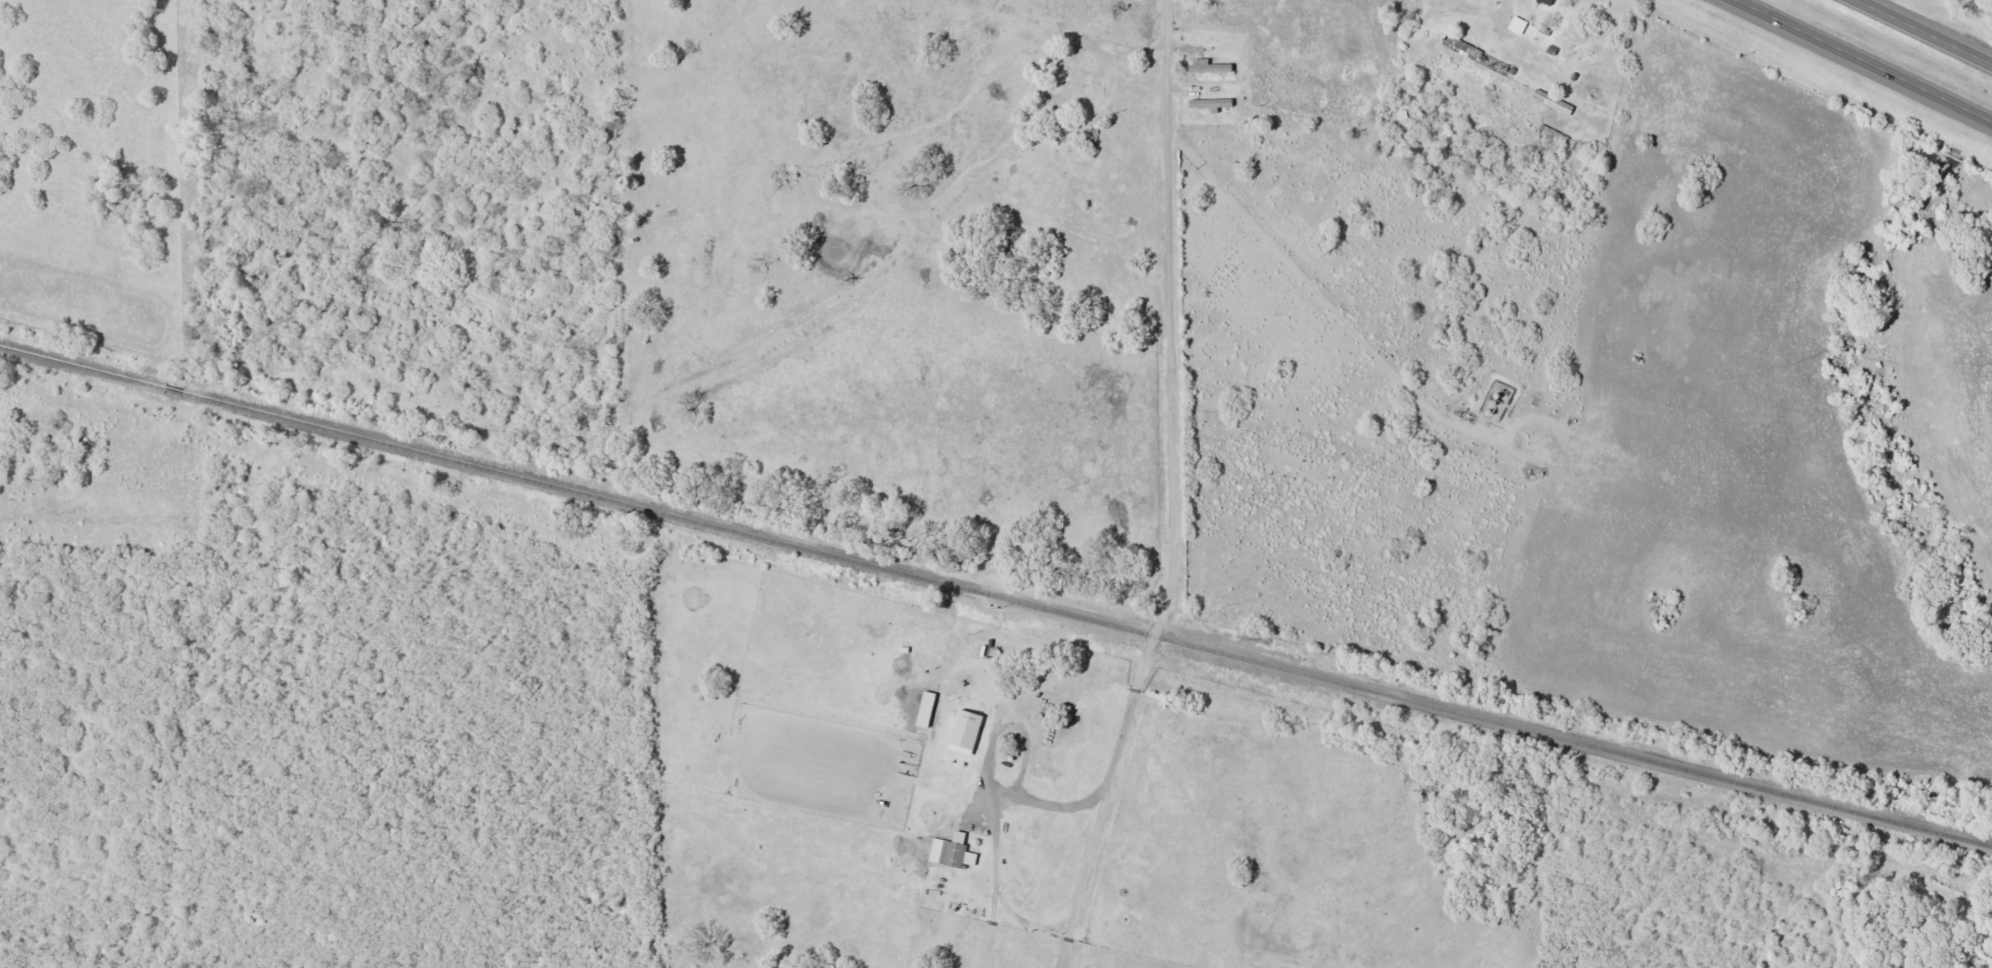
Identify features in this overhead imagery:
building: (1545, 2)
road: (738, 13)
road: (1655, 20)
building: (1517, 26)
road: (1930, 30)
road: (1688, 42)
road: (1865, 60)
building: (1208, 67)
building: (1553, 103)
building: (1210, 104)
road: (258, 109)
building: (1549, 132)
road: (1169, 402)
railway: (995, 597)
building: (925, 709)
building: (965, 732)
building: (951, 852)

